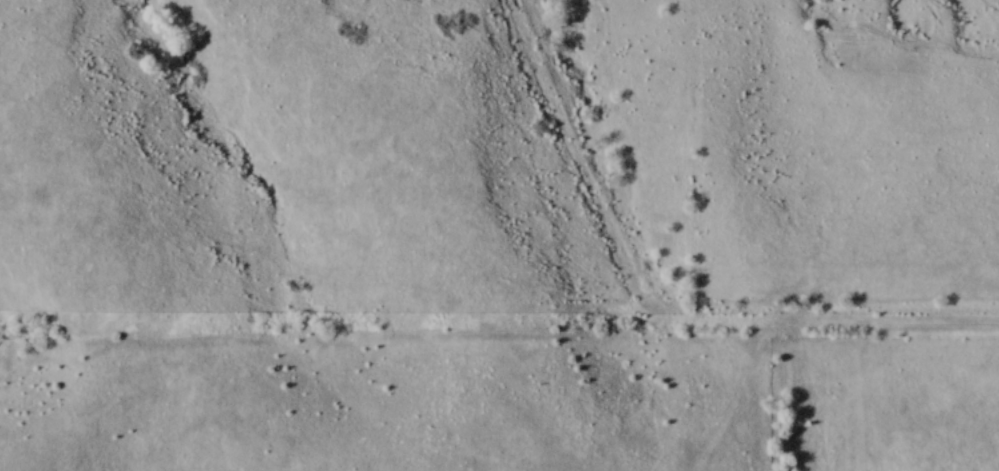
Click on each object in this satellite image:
road: (841, 314)

